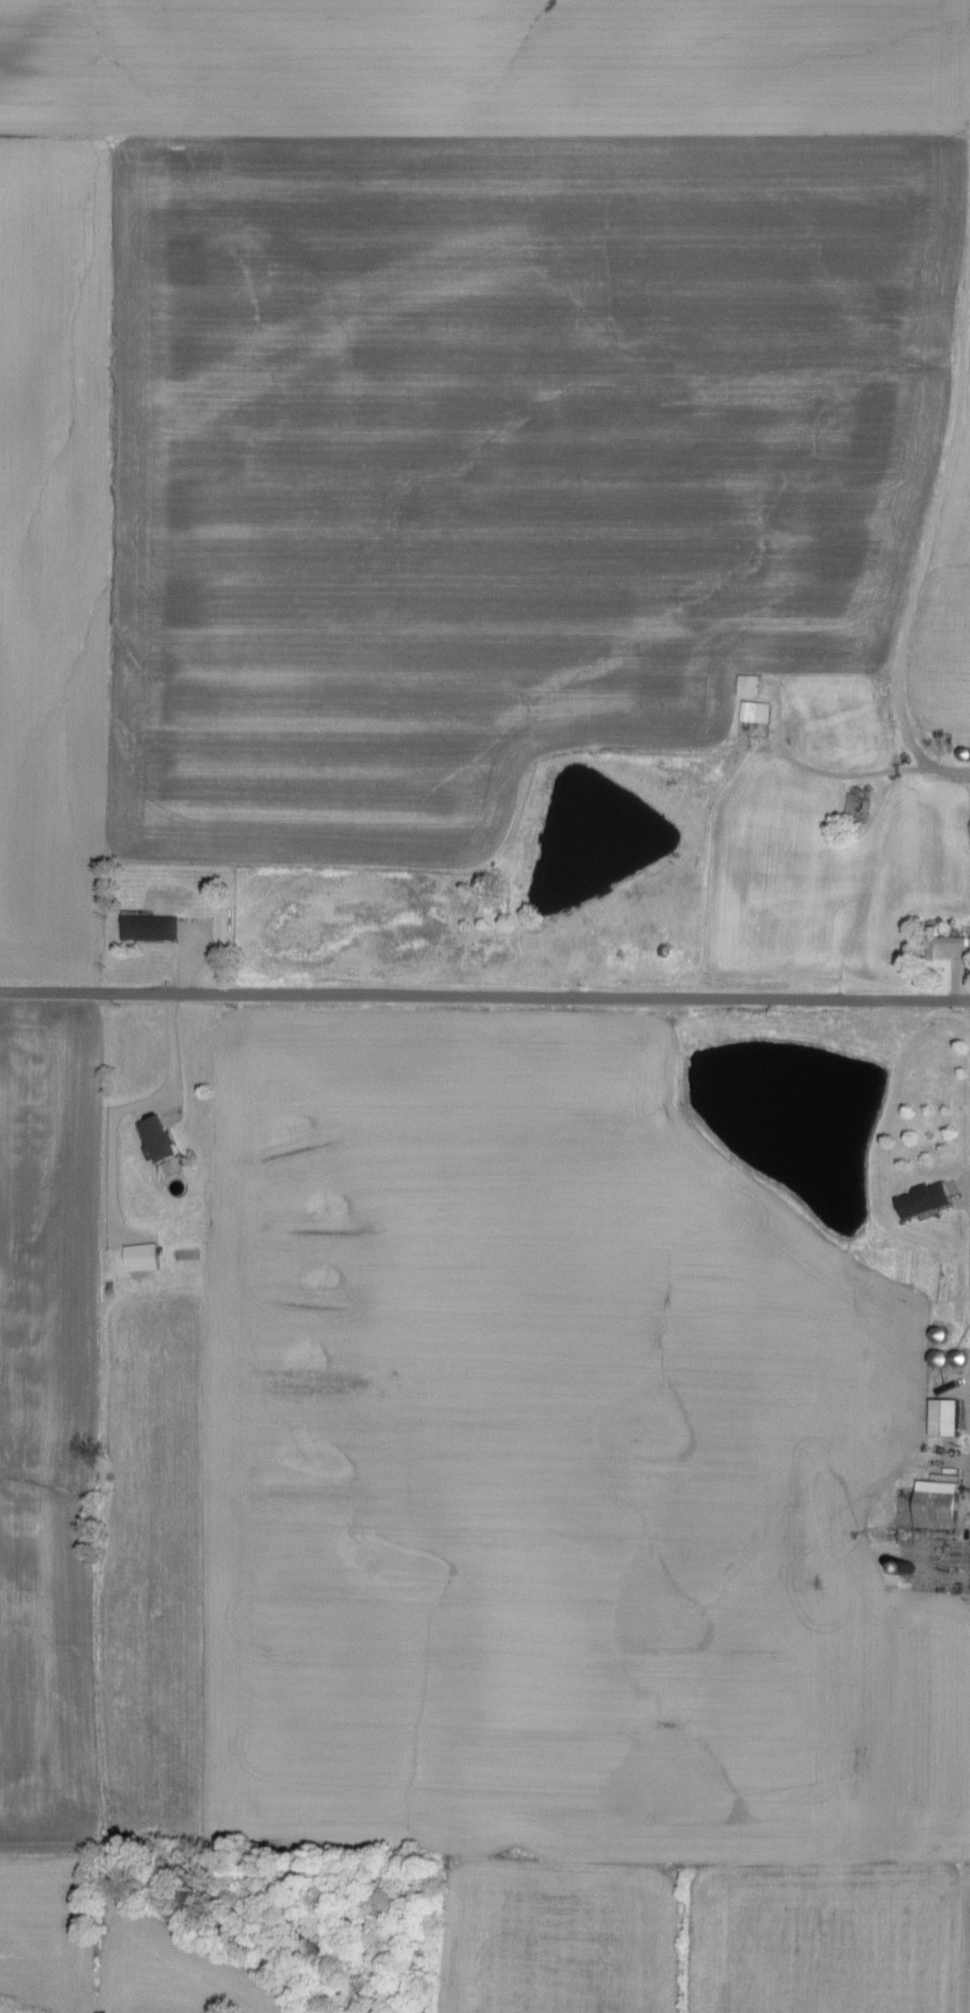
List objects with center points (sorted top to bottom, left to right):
building: (753, 686)
building: (757, 712)
road: (953, 767)
building: (853, 806)
building: (490, 903)
building: (154, 928)
building: (947, 945)
road: (484, 997)
road: (173, 1049)
building: (163, 1138)
building: (929, 1199)
building: (145, 1258)
building: (951, 1359)
building: (949, 1418)
building: (941, 1505)

